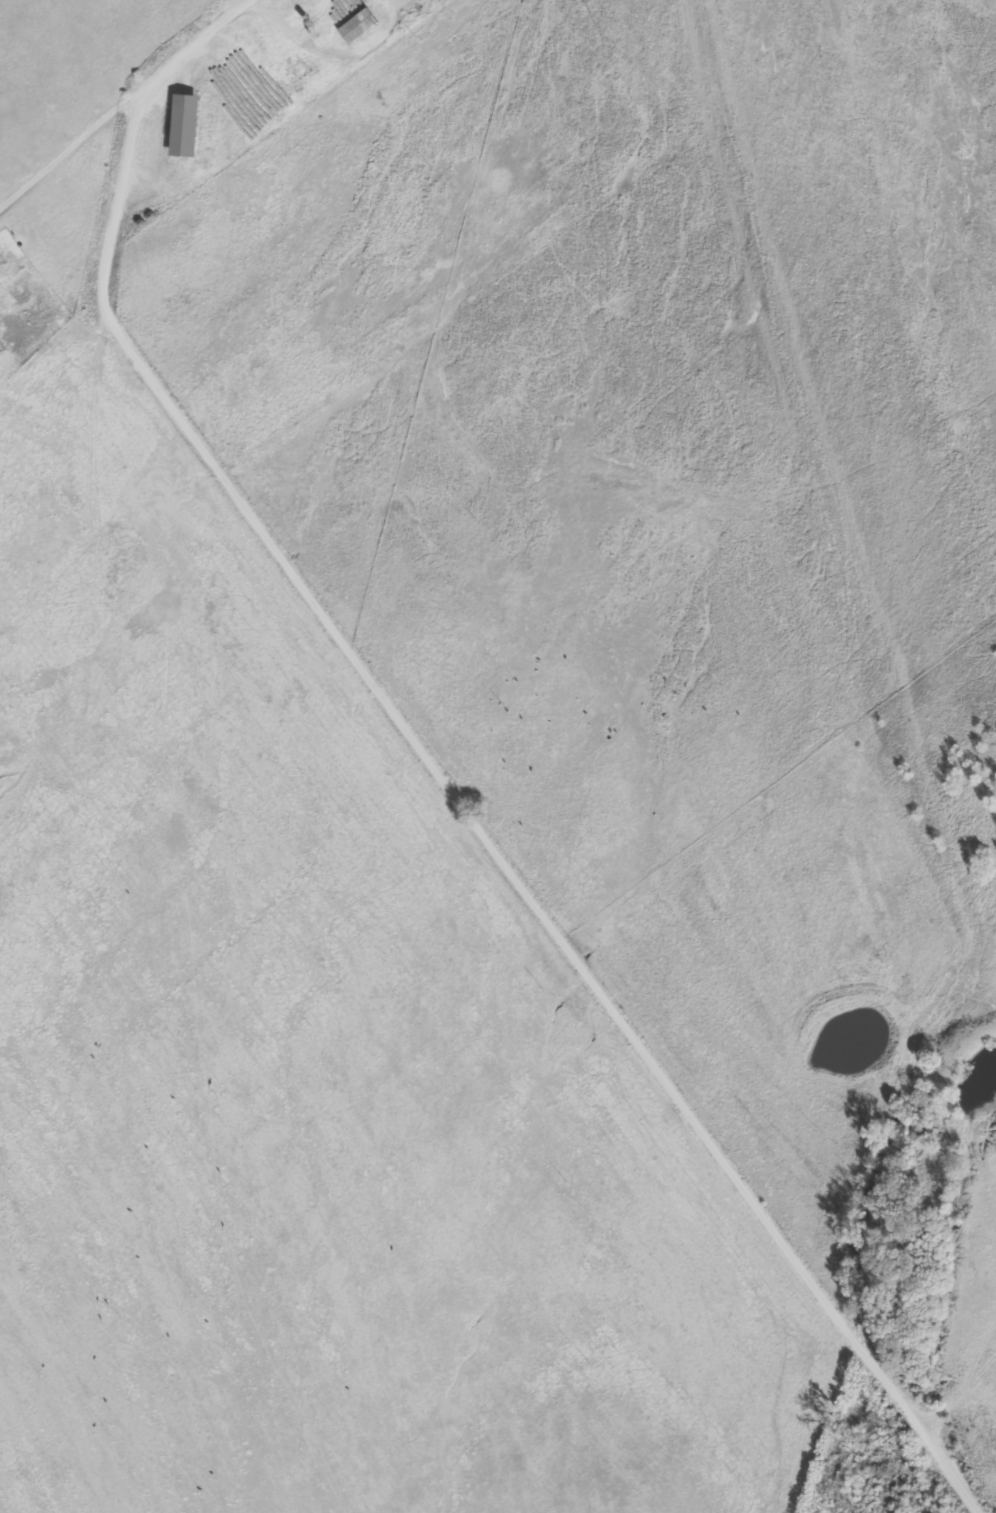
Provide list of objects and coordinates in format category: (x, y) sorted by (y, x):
building: (354, 26)
building: (179, 125)
road: (393, 770)
road: (797, 1421)

